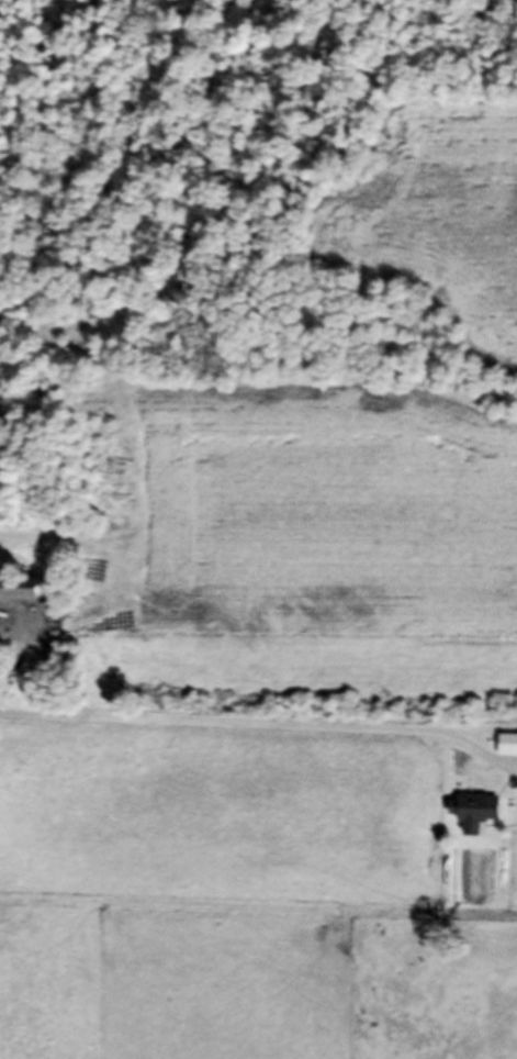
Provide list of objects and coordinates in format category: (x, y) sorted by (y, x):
road: (263, 734)
building: (506, 753)
building: (480, 817)

